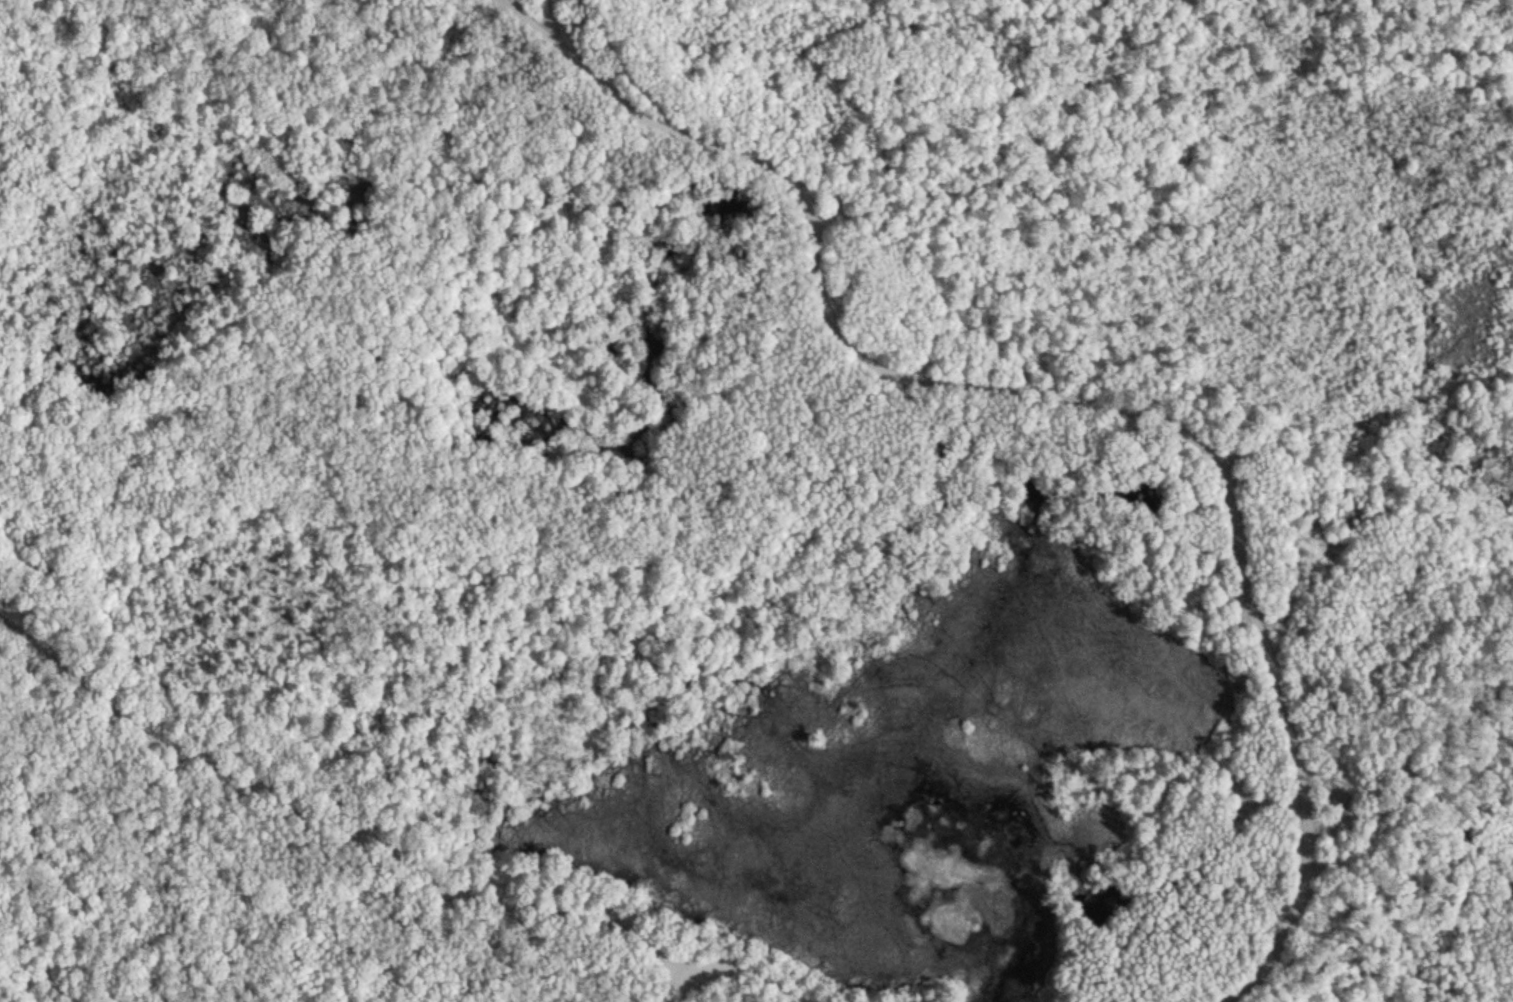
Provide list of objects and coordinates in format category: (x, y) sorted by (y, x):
road: (1066, 396)
road: (342, 820)
road: (737, 975)

